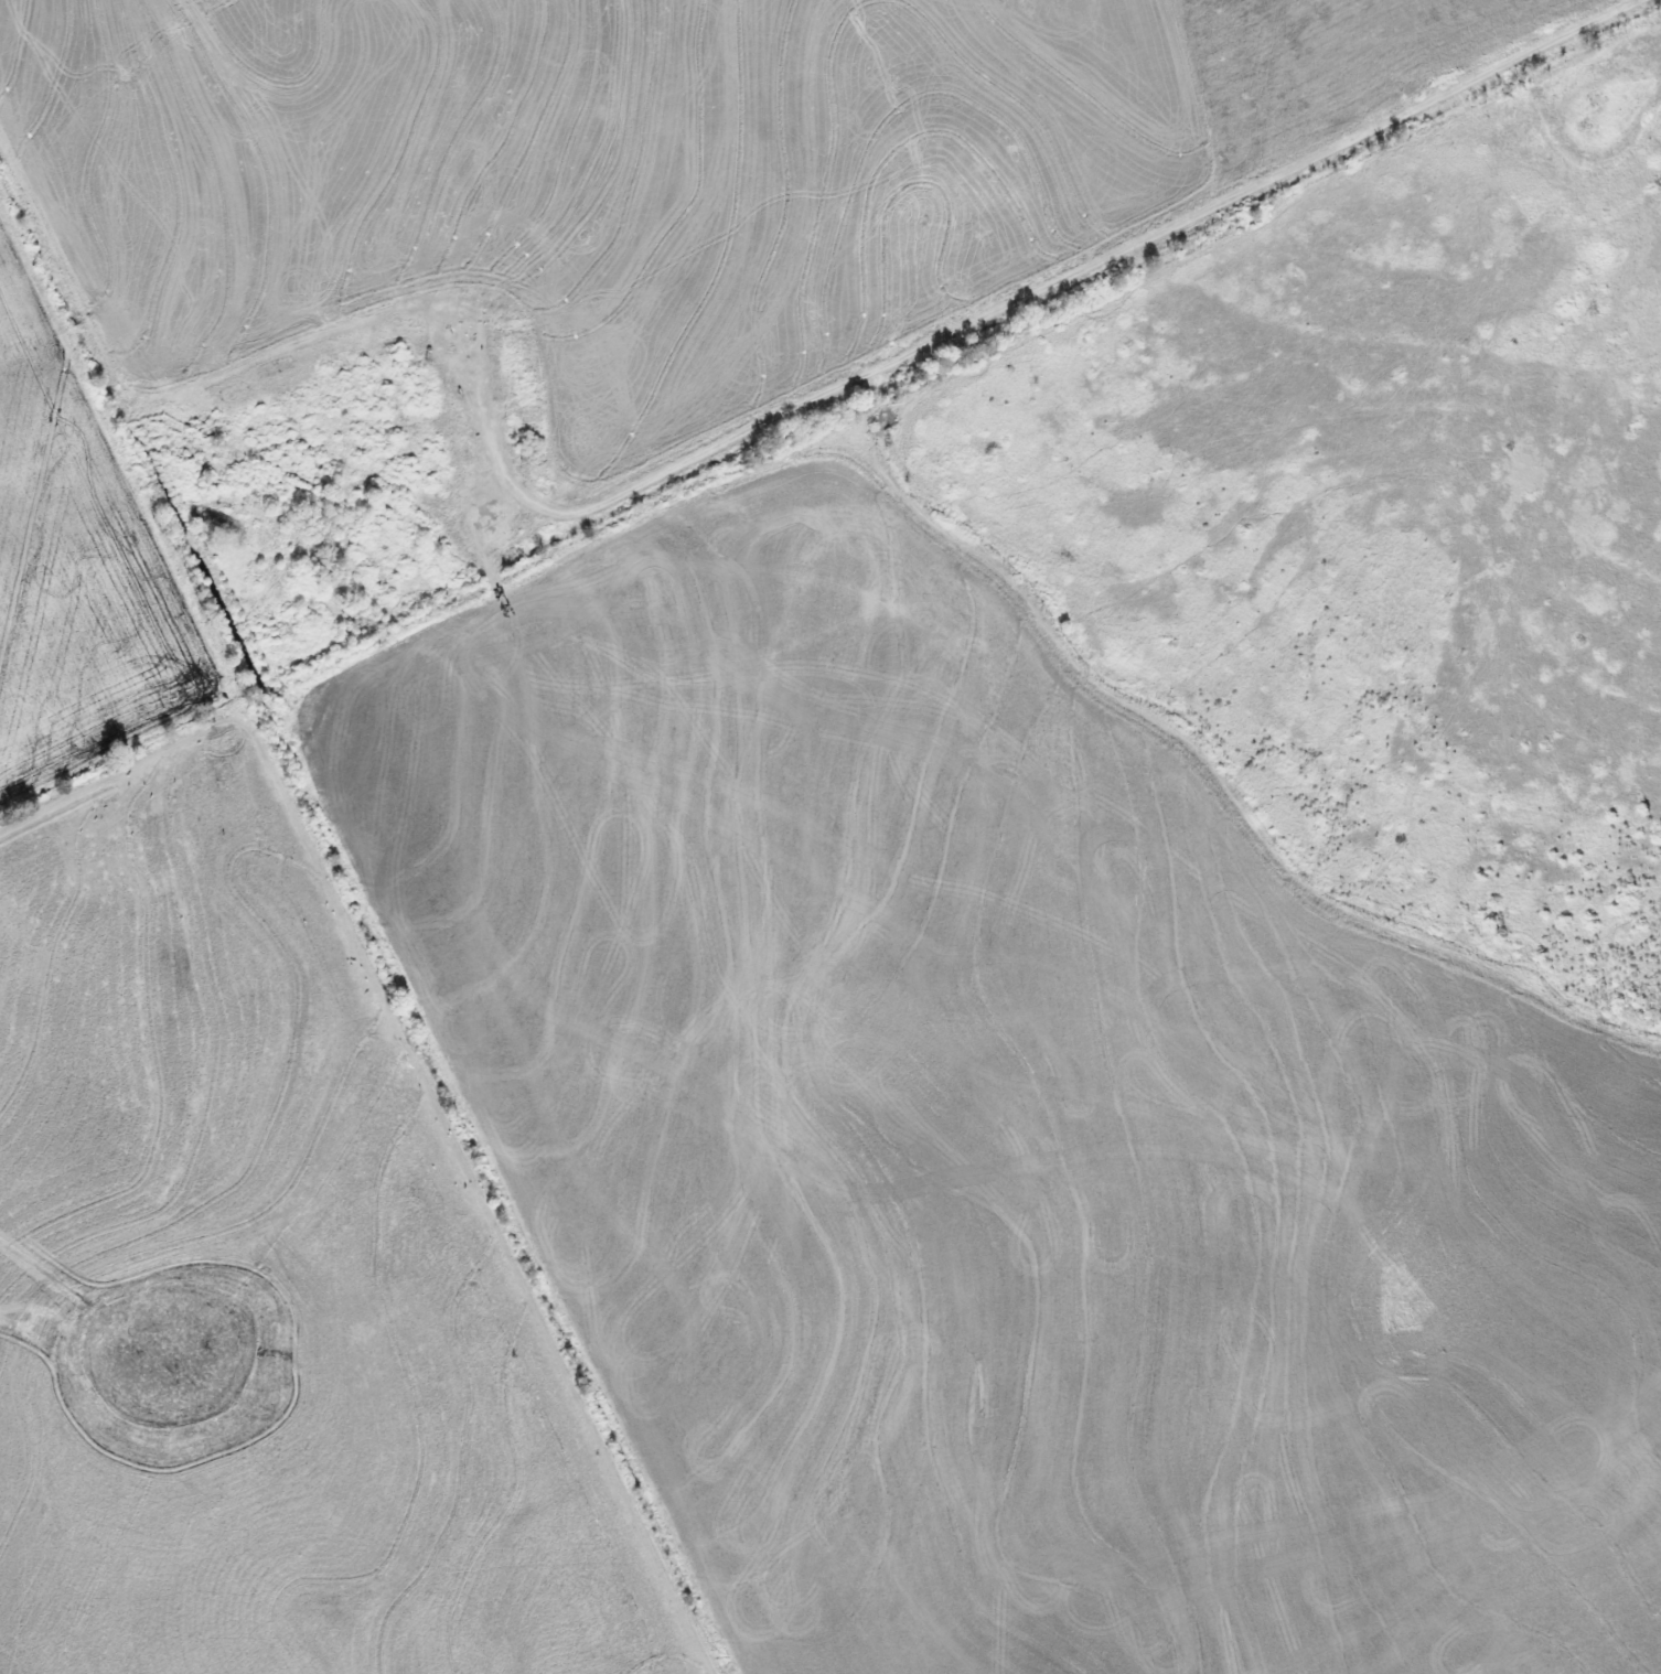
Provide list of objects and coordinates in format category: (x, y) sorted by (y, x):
road: (1025, 299)

